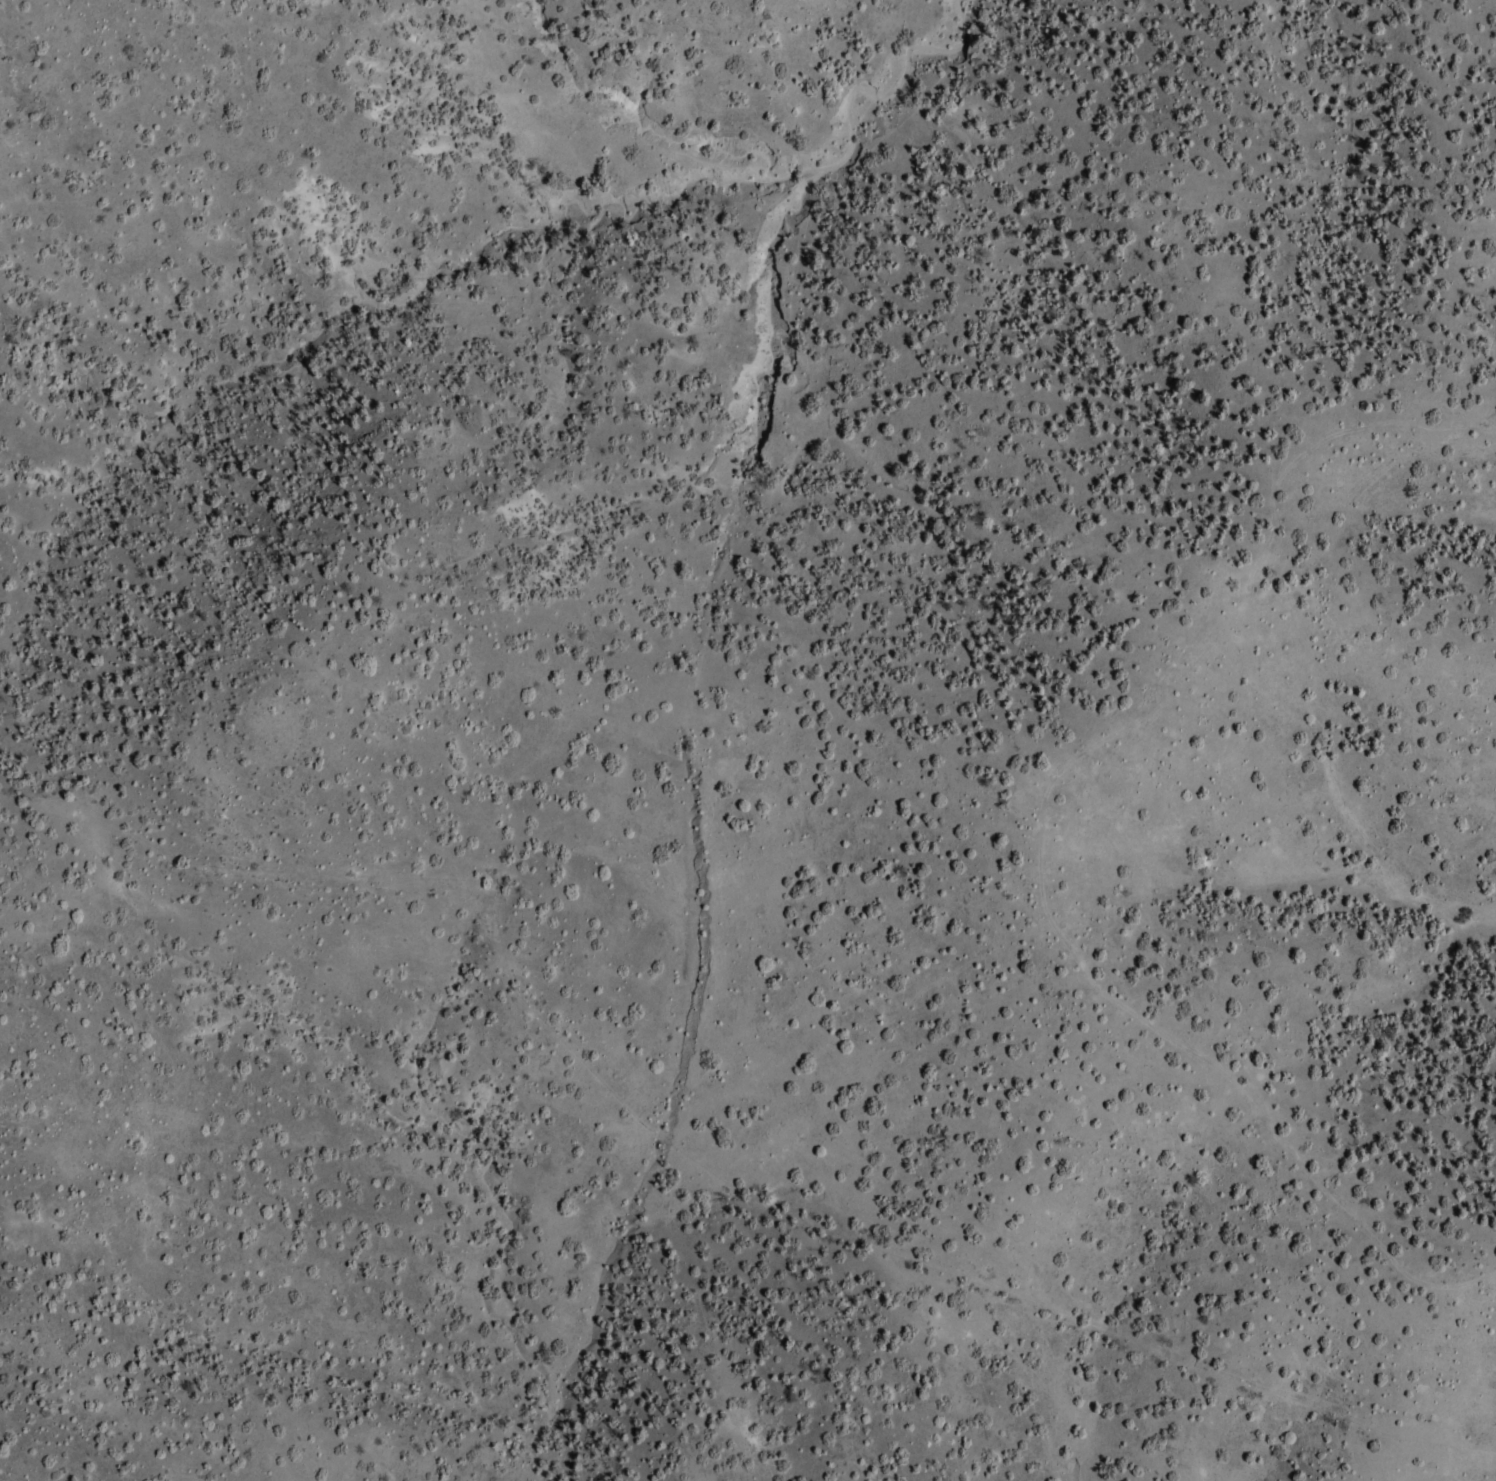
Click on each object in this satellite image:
road: (1039, 835)

